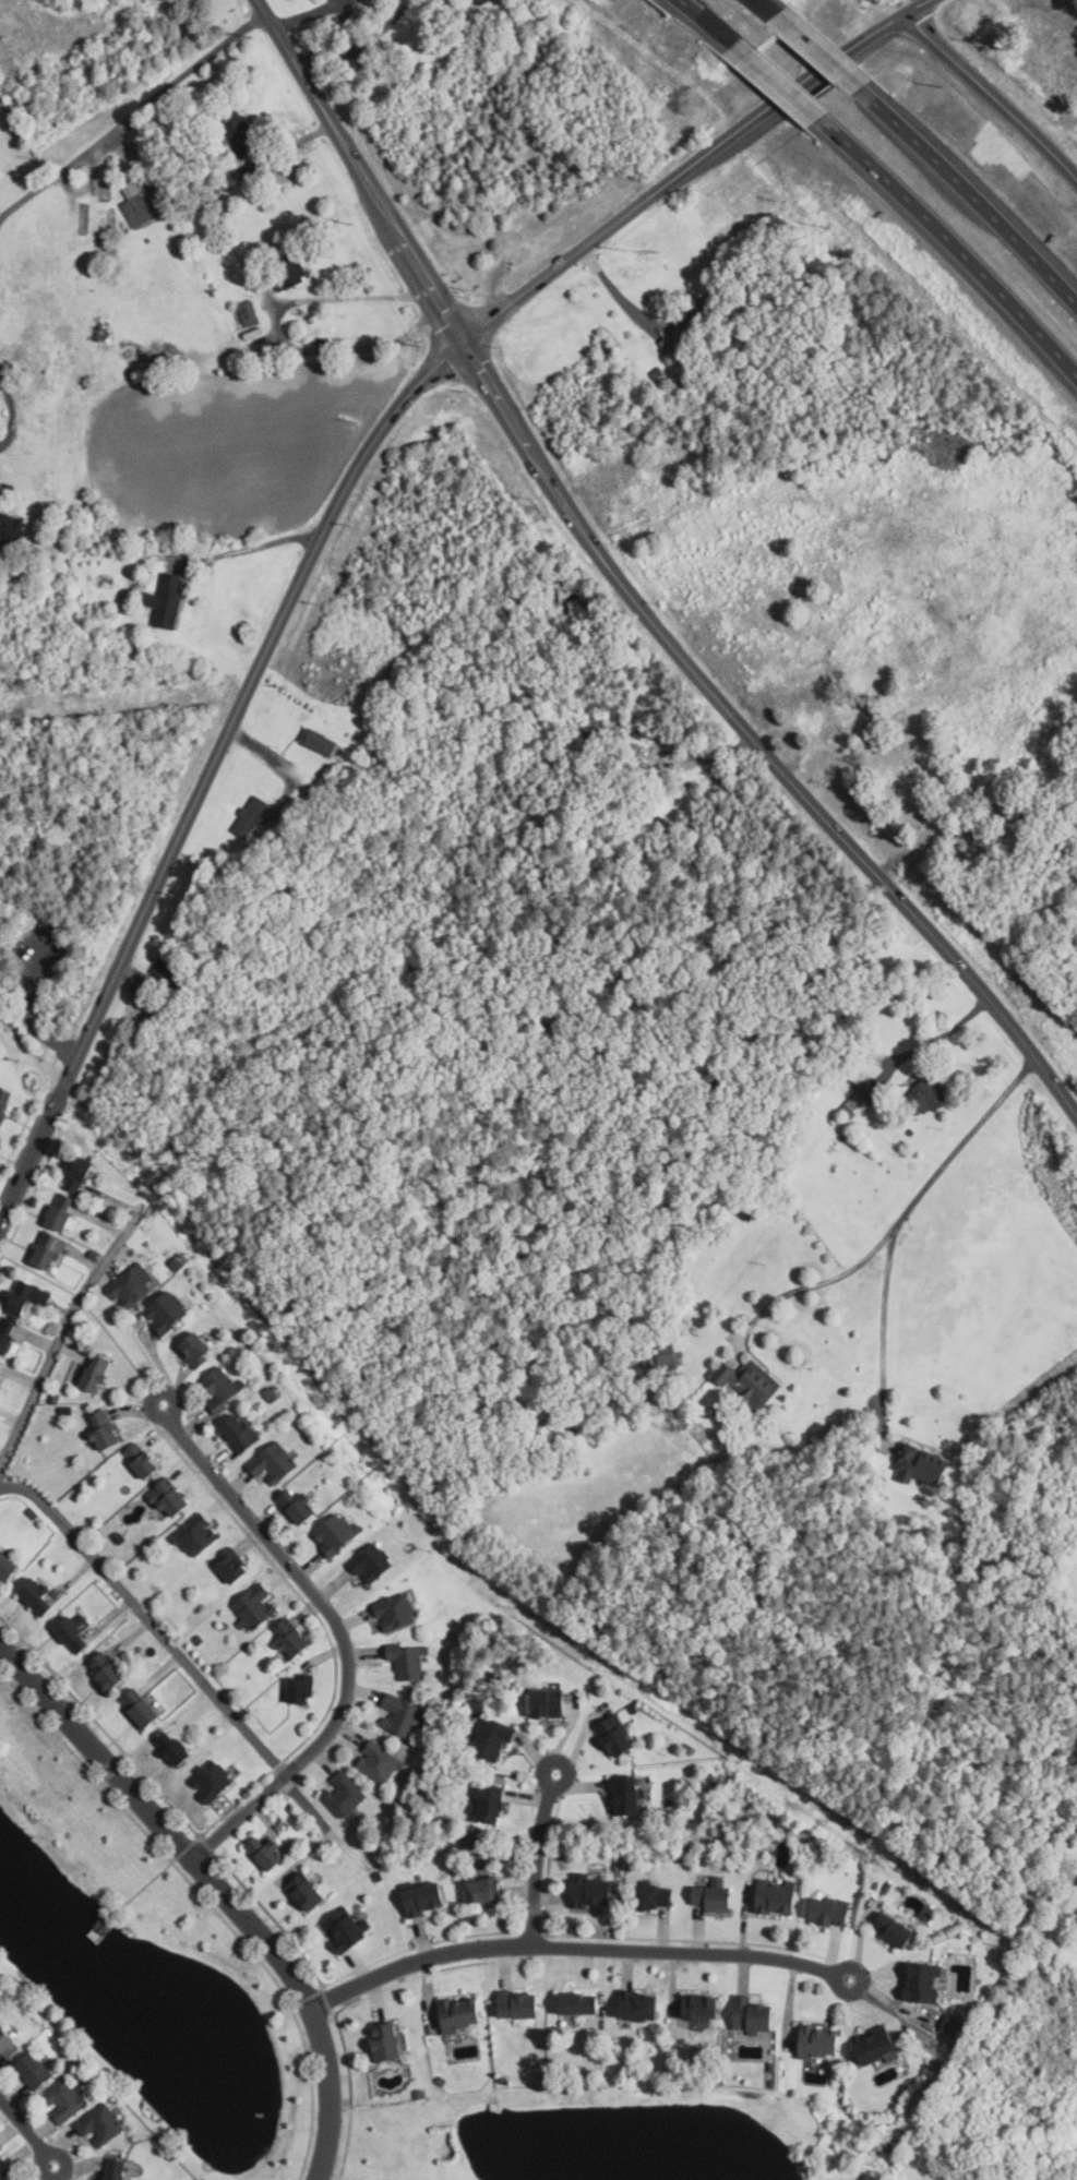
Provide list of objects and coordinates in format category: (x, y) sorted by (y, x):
building: (479, 1)
road: (309, 13)
road: (770, 14)
road: (713, 28)
road: (361, 44)
road: (816, 52)
road: (777, 82)
road: (989, 96)
road: (130, 110)
road: (322, 110)
building: (235, 130)
road: (687, 164)
building: (222, 171)
building: (249, 171)
road: (962, 188)
building: (133, 204)
road: (2, 216)
road: (945, 237)
building: (285, 272)
road: (426, 279)
road: (613, 288)
building: (696, 312)
building: (247, 313)
traffic signals: (462, 339)
road: (278, 340)
building: (666, 344)
building: (655, 373)
road: (498, 399)
building: (11, 529)
road: (248, 548)
road: (624, 589)
building: (167, 600)
road: (258, 660)
building: (590, 722)
building: (319, 741)
road: (262, 751)
building: (253, 816)
building: (970, 838)
road: (908, 908)
building: (167, 967)
road: (34, 1003)
road: (936, 1037)
building: (923, 1095)
building: (860, 1098)
building: (4, 1102)
road: (47, 1116)
building: (834, 1119)
building: (910, 1131)
building: (80, 1174)
building: (63, 1211)
road: (896, 1219)
building: (50, 1250)
road: (824, 1281)
building: (132, 1286)
building: (27, 1296)
building: (168, 1311)
building: (8, 1333)
road: (60, 1345)
building: (198, 1349)
building: (667, 1354)
building: (2, 1365)
building: (97, 1372)
building: (750, 1380)
building: (223, 1388)
building: (106, 1430)
building: (241, 1432)
building: (144, 1460)
building: (275, 1463)
building: (920, 1464)
building: (171, 1497)
building: (300, 1506)
building: (336, 1534)
building: (196, 1535)
building: (372, 1564)
building: (9, 1566)
building: (232, 1566)
building: (39, 1596)
building: (256, 1606)
building: (396, 1613)
road: (146, 1619)
road: (338, 1629)
building: (74, 1634)
building: (294, 1640)
building: (408, 1663)
building: (109, 1670)
building: (302, 1690)
building: (549, 1703)
building: (141, 1709)
building: (402, 1714)
building: (618, 1736)
building: (492, 1738)
building: (175, 1748)
building: (379, 1761)
building: (212, 1781)
building: (345, 1794)
building: (627, 1796)
building: (489, 1804)
building: (268, 1853)
road: (539, 1858)
road: (147, 1882)
building: (1076, 1884)
road: (219, 1888)
building: (479, 1888)
building: (308, 1891)
building: (595, 1893)
building: (778, 1896)
building: (657, 1897)
building: (716, 1897)
building: (419, 1900)
building: (831, 1911)
building: (107, 1925)
road: (105, 1927)
building: (896, 1929)
building: (346, 1930)
road: (576, 1948)
building: (924, 1983)
building: (519, 2004)
building: (576, 2007)
building: (641, 2007)
building: (703, 2007)
building: (458, 2015)
building: (754, 2015)
building: (952, 2025)
building: (387, 2043)
building: (822, 2043)
building: (8, 2044)
building: (877, 2047)
building: (34, 2071)
building: (64, 2100)
building: (101, 2124)
road: (26, 2134)
building: (0, 2149)
building: (115, 2169)
building: (5, 2170)

